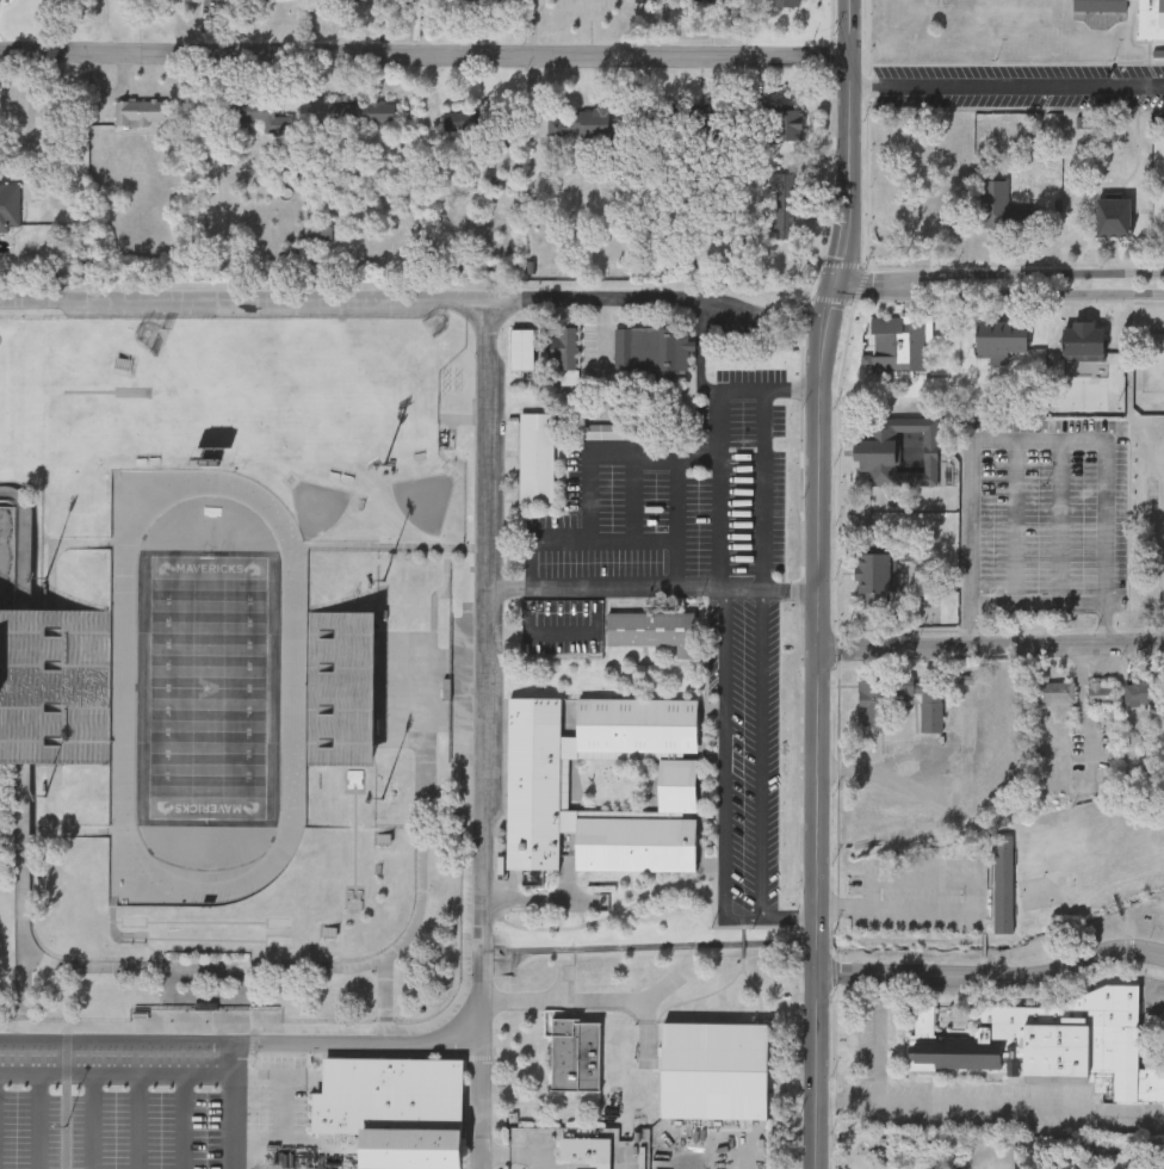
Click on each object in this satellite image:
building: (126, 0)
building: (349, 1)
building: (787, 2)
building: (1100, 5)
building: (1151, 19)
road: (425, 56)
road: (1007, 85)
building: (250, 111)
building: (142, 112)
building: (361, 112)
building: (468, 120)
building: (781, 120)
road: (35, 124)
building: (586, 124)
road: (17, 136)
building: (8, 203)
building: (784, 203)
building: (1007, 211)
building: (1114, 219)
road: (1003, 272)
traffic signals: (843, 283)
road: (1002, 291)
road: (837, 297)
road: (415, 303)
building: (1003, 335)
road: (605, 336)
building: (1084, 339)
building: (898, 341)
building: (521, 347)
building: (564, 347)
building: (649, 350)
road: (1128, 354)
road: (769, 388)
road: (719, 440)
building: (897, 450)
road: (614, 453)
building: (535, 456)
road: (964, 476)
road: (762, 490)
road: (674, 499)
road: (1057, 524)
road: (598, 536)
road: (1107, 544)
road: (1011, 546)
building: (875, 579)
road: (650, 593)
road: (1034, 601)
road: (1082, 601)
building: (652, 629)
road: (583, 635)
road: (987, 649)
building: (33, 651)
stadium: (194, 687)
park: (210, 689)
building: (1052, 691)
building: (1139, 691)
building: (1100, 692)
building: (874, 712)
road: (1083, 715)
building: (984, 753)
road: (879, 773)
road: (724, 777)
road: (762, 780)
building: (537, 783)
park: (1088, 874)
road: (811, 880)
building: (1001, 883)
road: (539, 902)
road: (483, 908)
road: (973, 911)
road: (989, 976)
road: (562, 995)
building: (1050, 1041)
building: (576, 1054)
building: (713, 1069)
road: (119, 1072)
road: (482, 1100)
road: (940, 1103)
road: (239, 1106)
building: (395, 1109)
road: (1141, 1112)
road: (38, 1120)
road: (87, 1120)
road: (138, 1120)
road: (184, 1120)
building: (586, 1150)
building: (1121, 1161)

